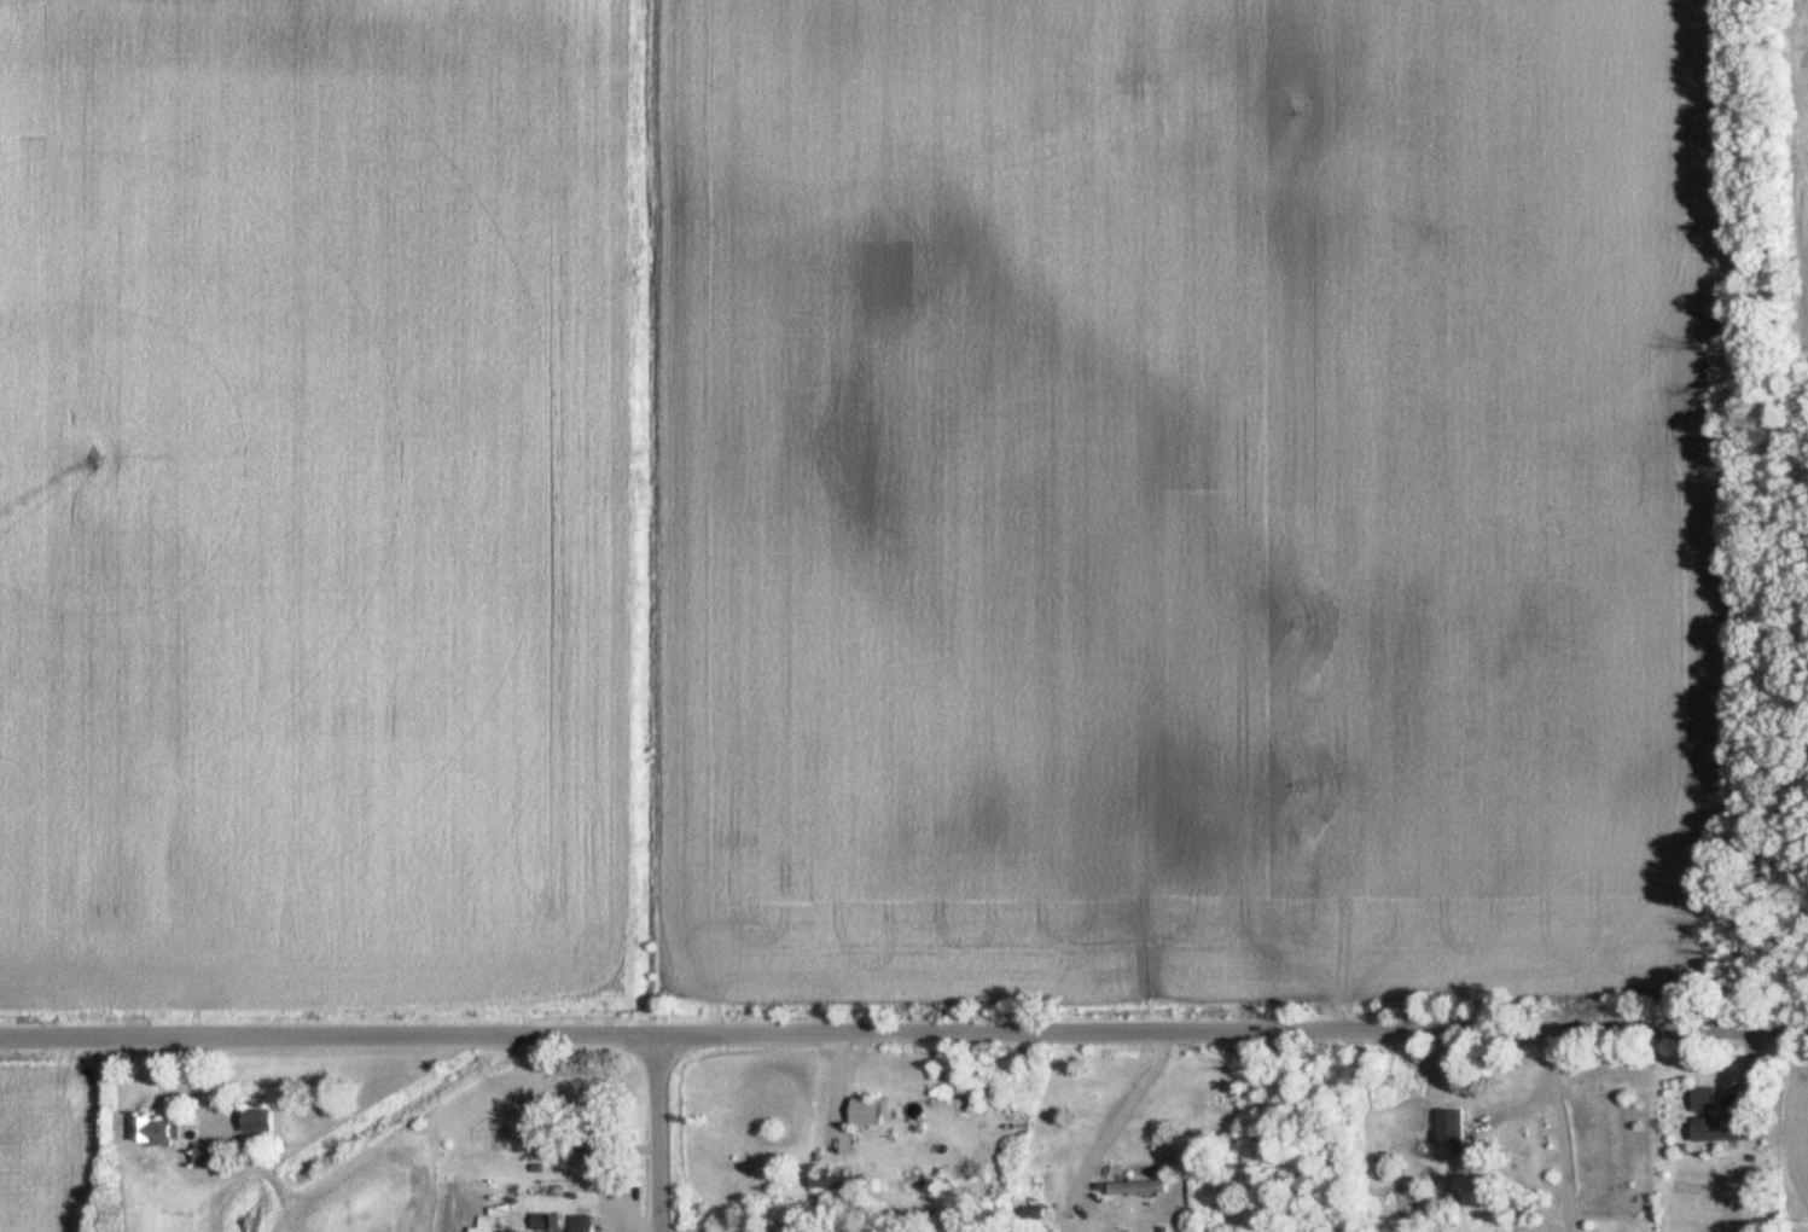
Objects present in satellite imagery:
road: (903, 1029)
building: (1705, 1102)
road: (1111, 1112)
building: (868, 1114)
road: (1560, 1121)
building: (262, 1123)
road: (658, 1131)
building: (1454, 1131)
building: (159, 1133)
building: (1725, 1133)
building: (595, 1138)
building: (215, 1157)
building: (836, 1182)
building: (1136, 1190)
building: (546, 1224)
building: (583, 1225)
building: (490, 1226)

